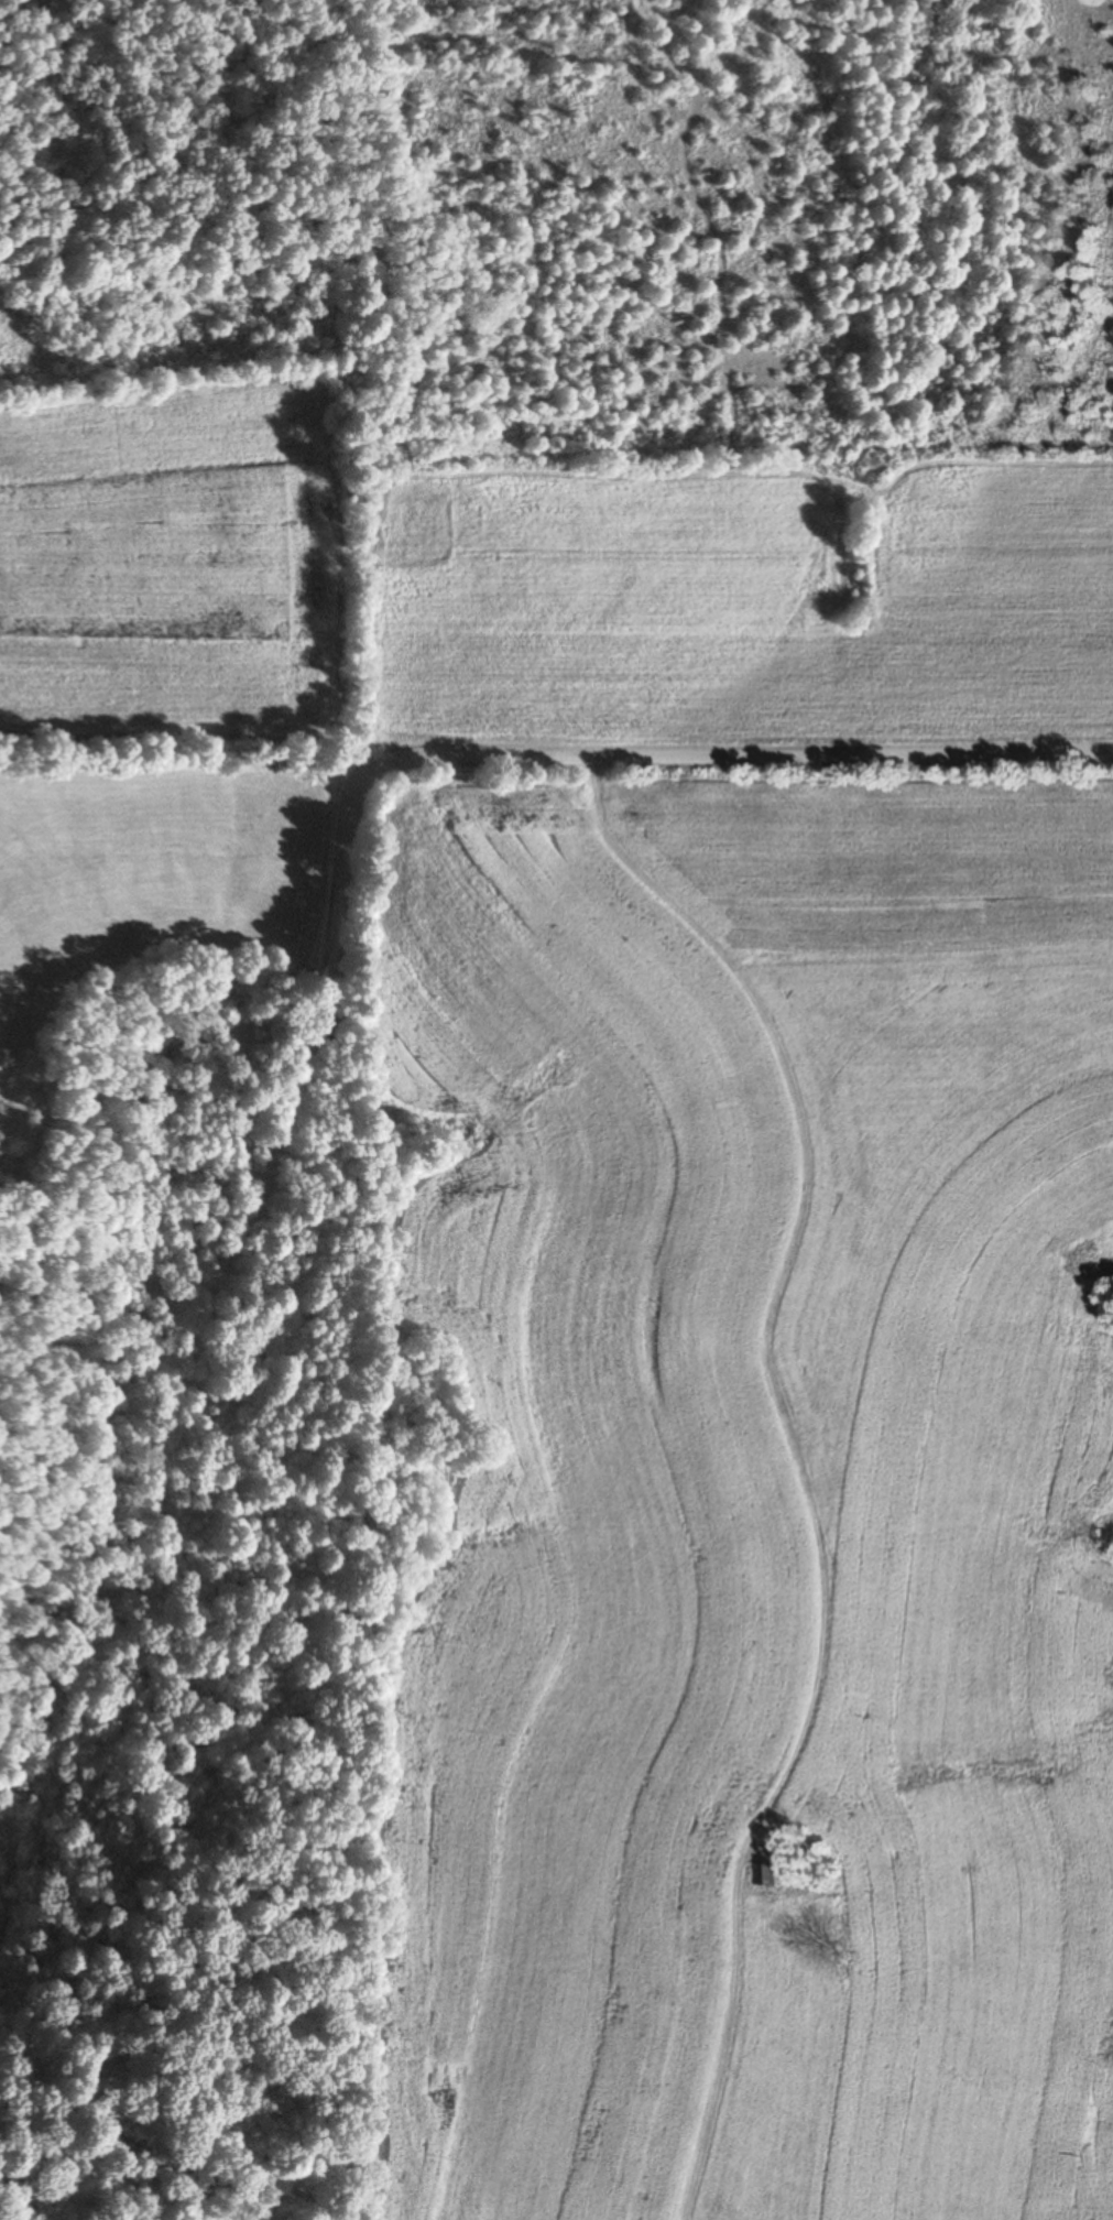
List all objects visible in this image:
crop: (173, 566)
crop: (154, 873)
road: (331, 914)
road: (810, 1236)
building: (773, 1873)

